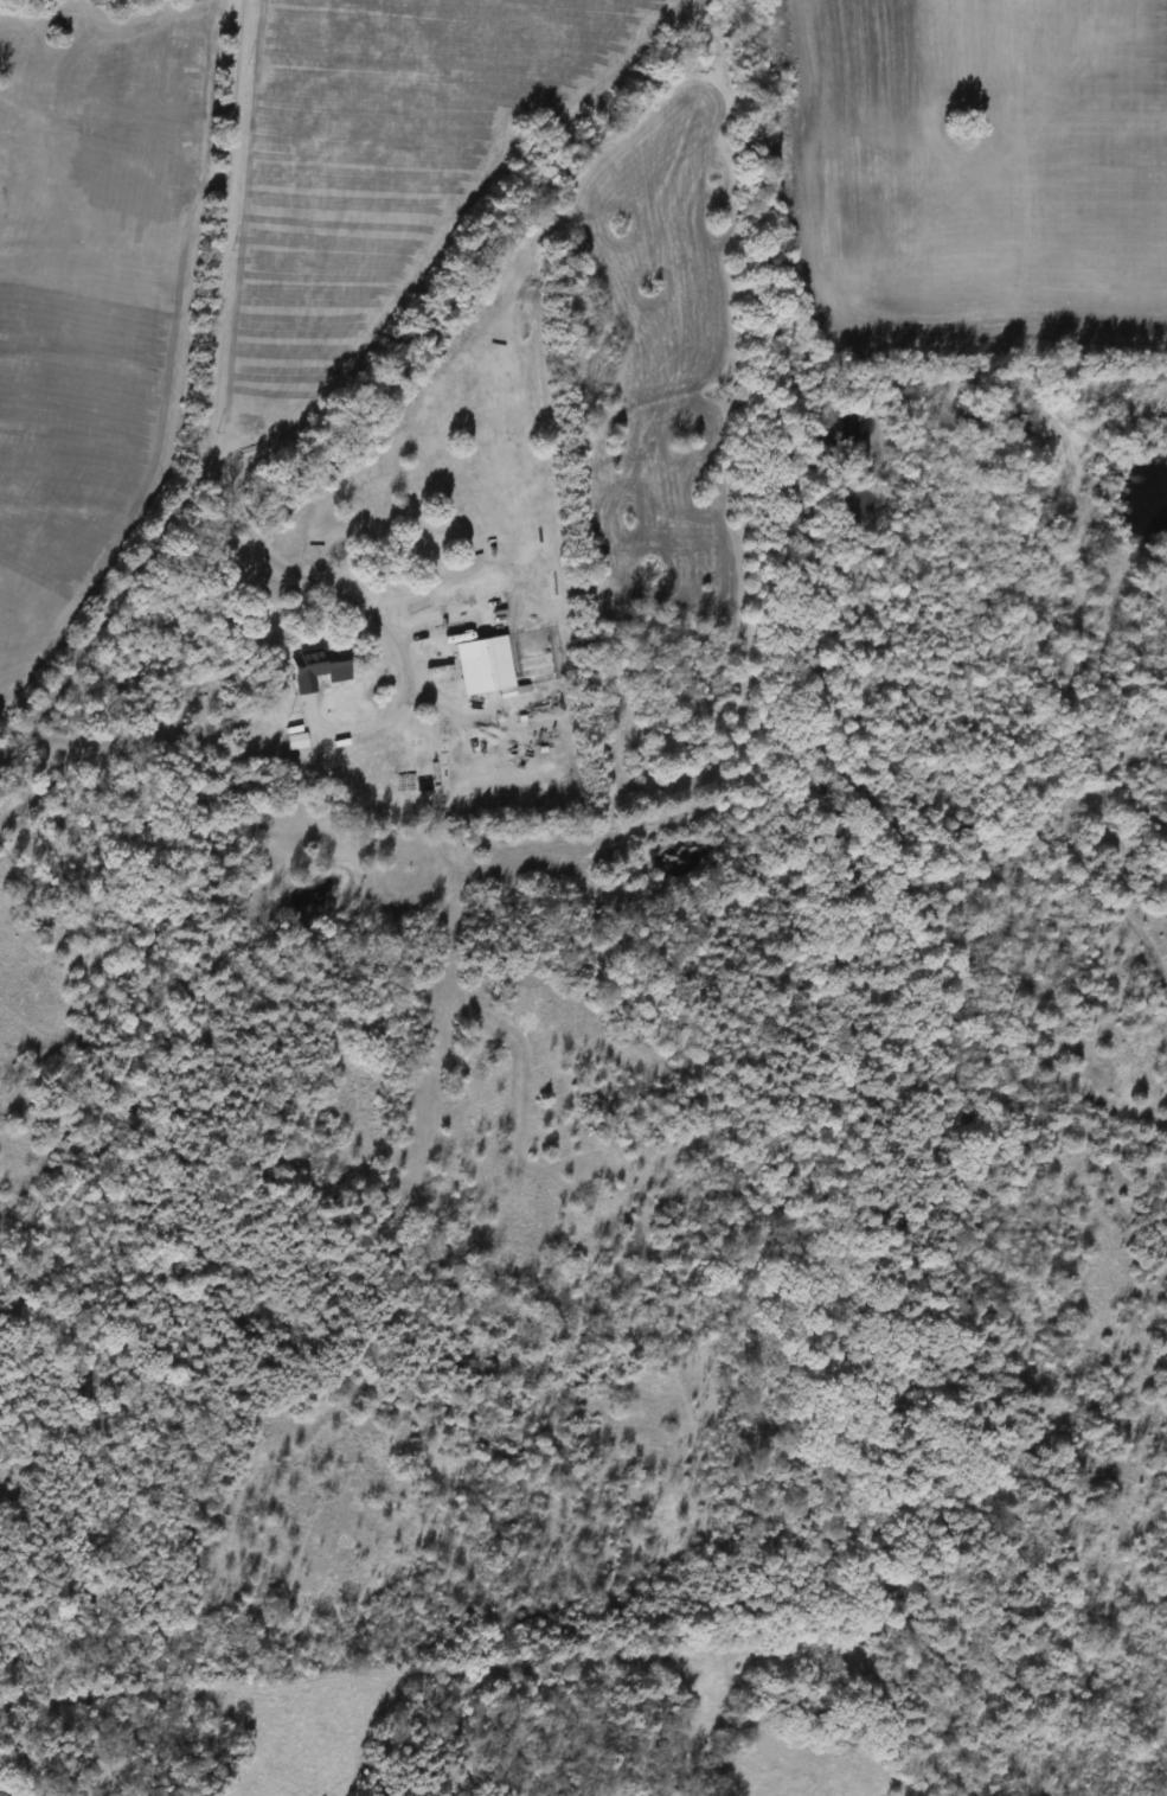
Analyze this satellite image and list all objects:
road: (206, 433)
building: (479, 666)
building: (307, 669)

